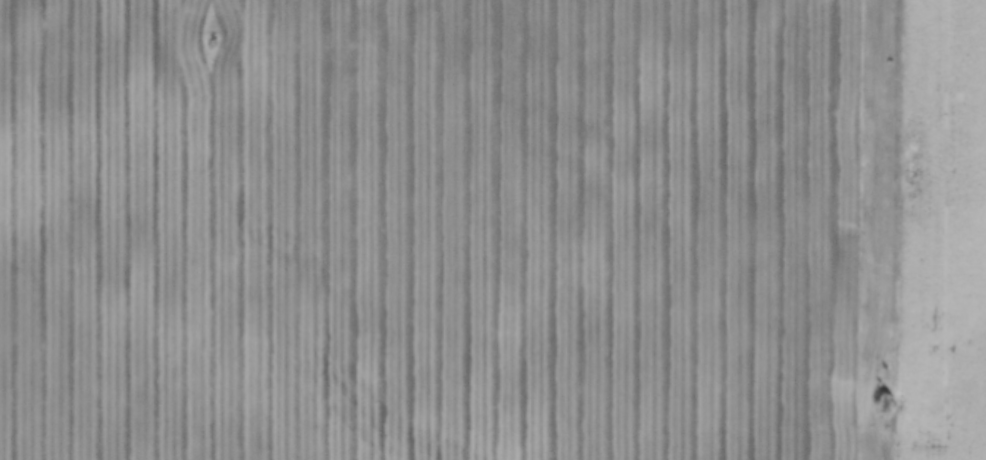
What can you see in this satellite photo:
road: (874, 97)

